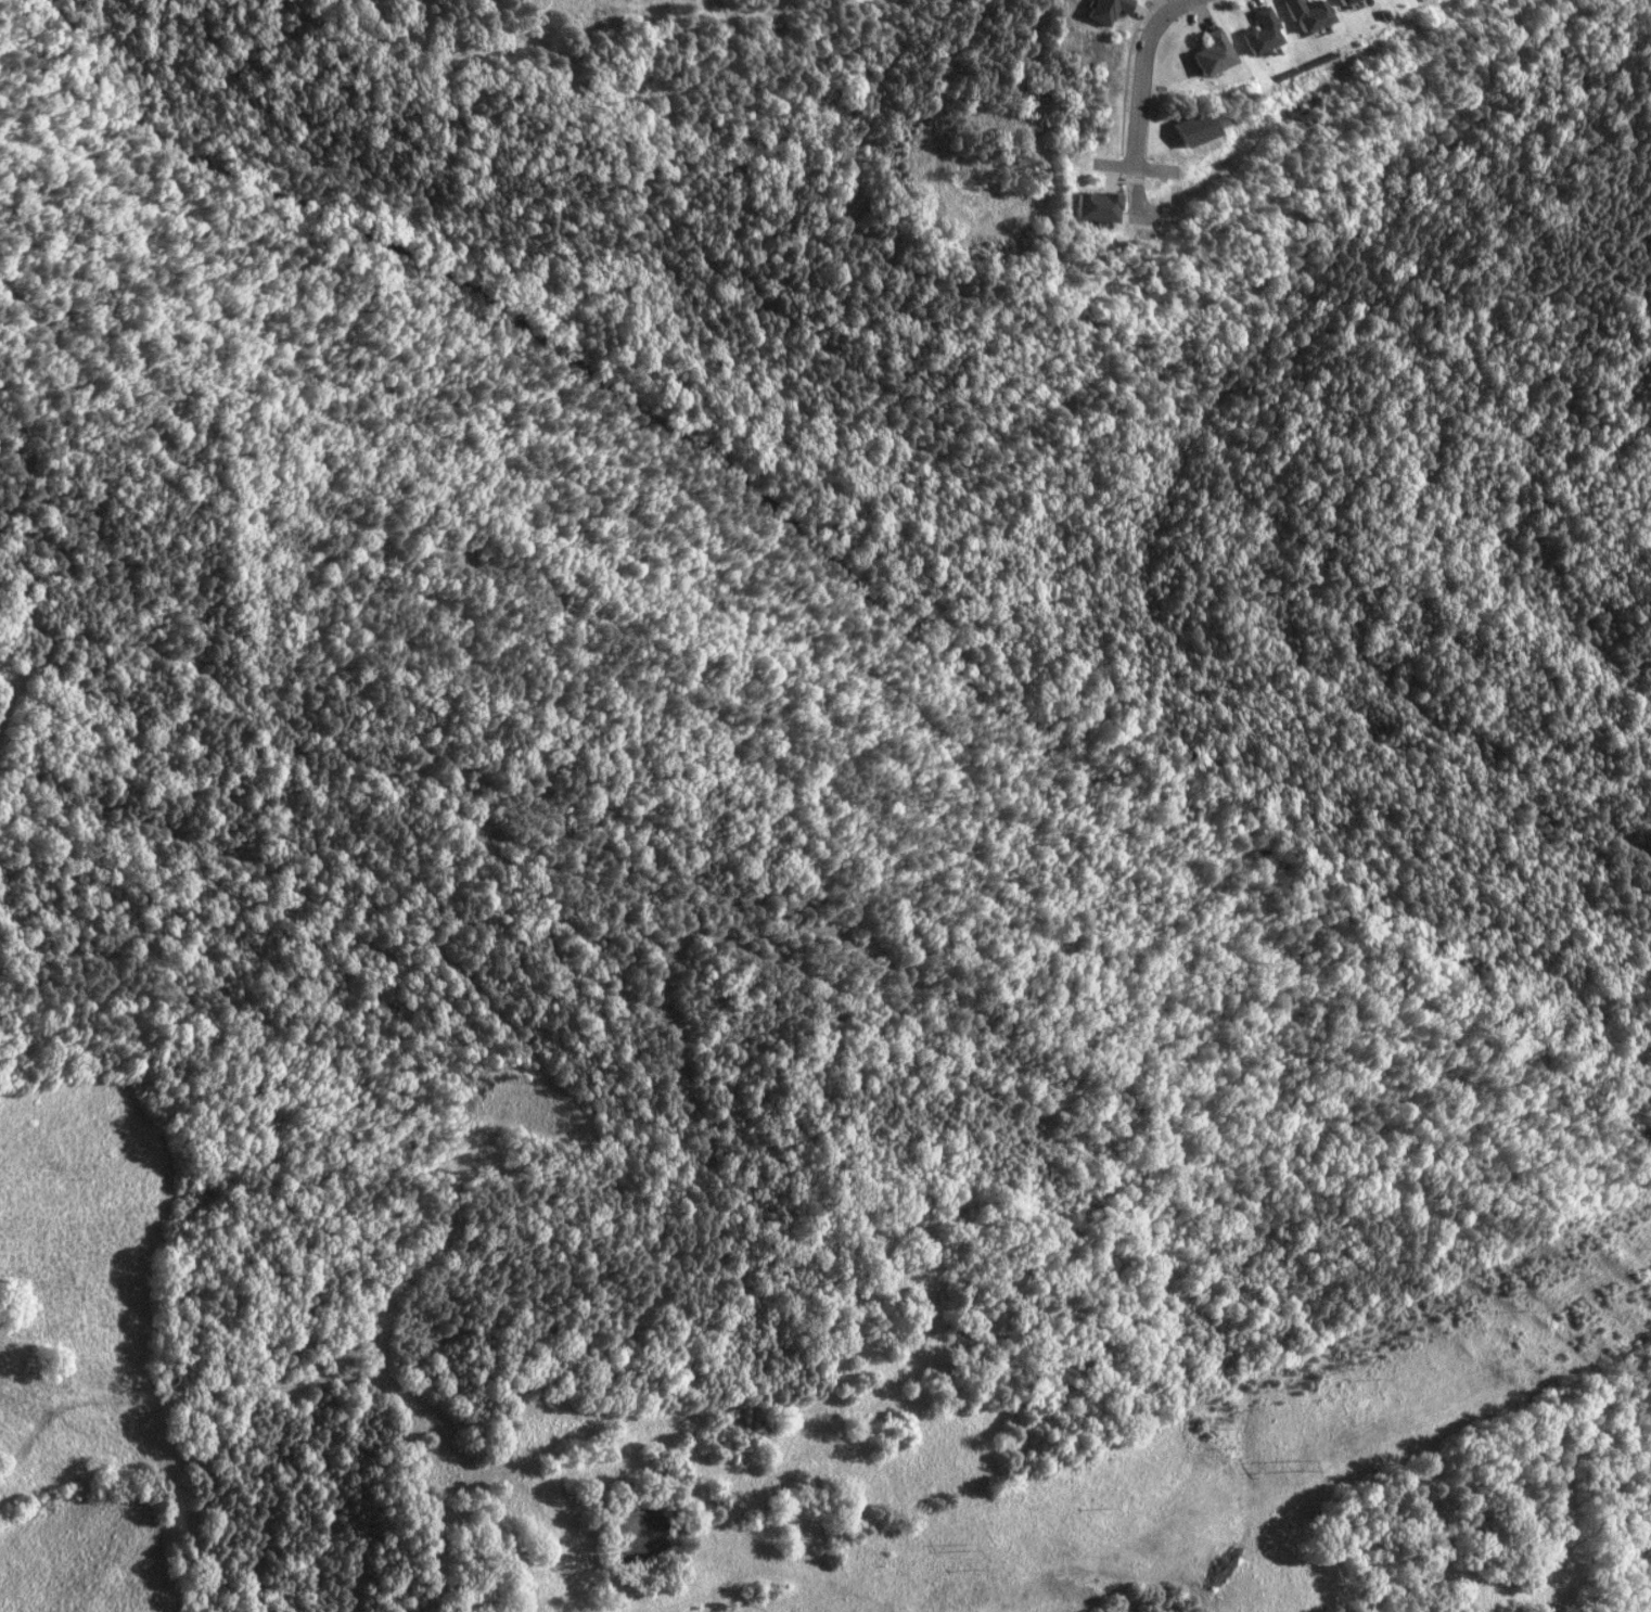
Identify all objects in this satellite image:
building: (1343, 2)
building: (1108, 10)
building: (1305, 15)
building: (1259, 34)
building: (1212, 53)
road: (1144, 68)
building: (1193, 129)
building: (1096, 207)
power tower: (1220, 1427)
power tower: (967, 1548)

